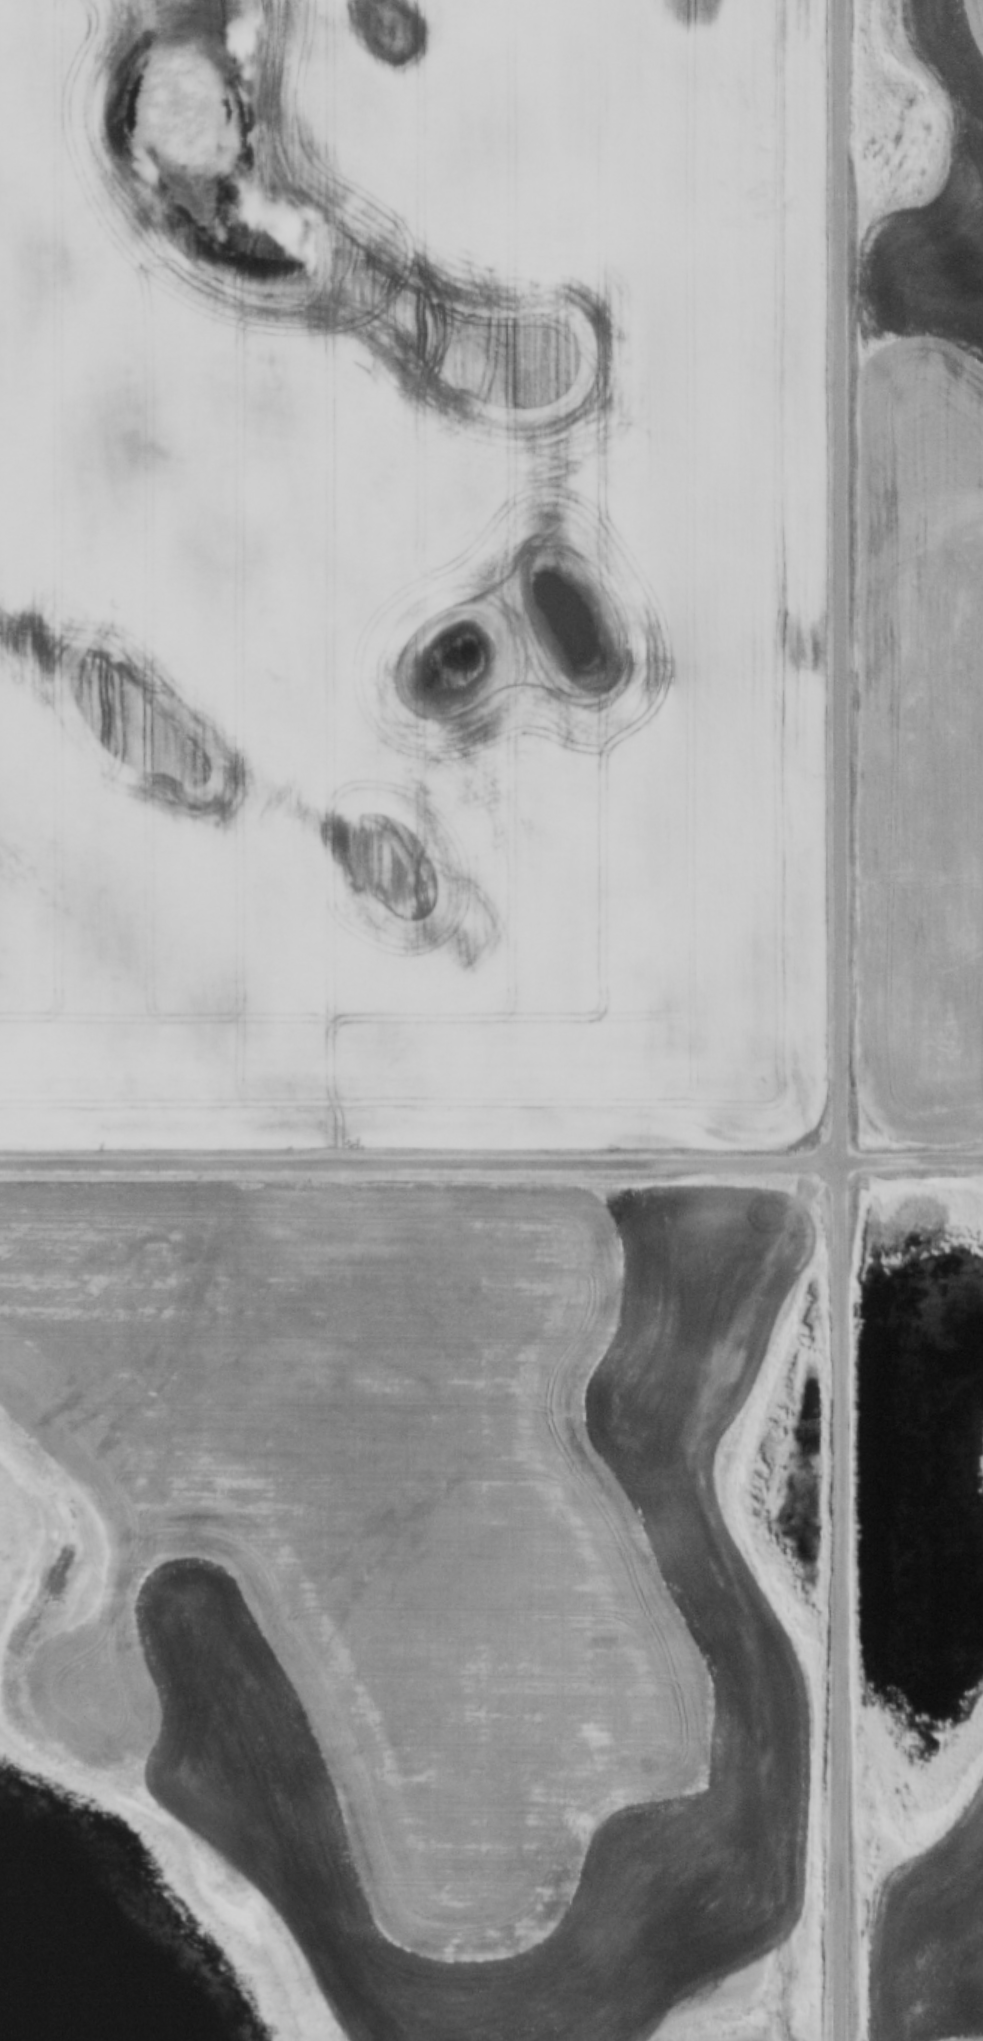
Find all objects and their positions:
road: (842, 1020)
road: (912, 1157)
road: (421, 1161)

